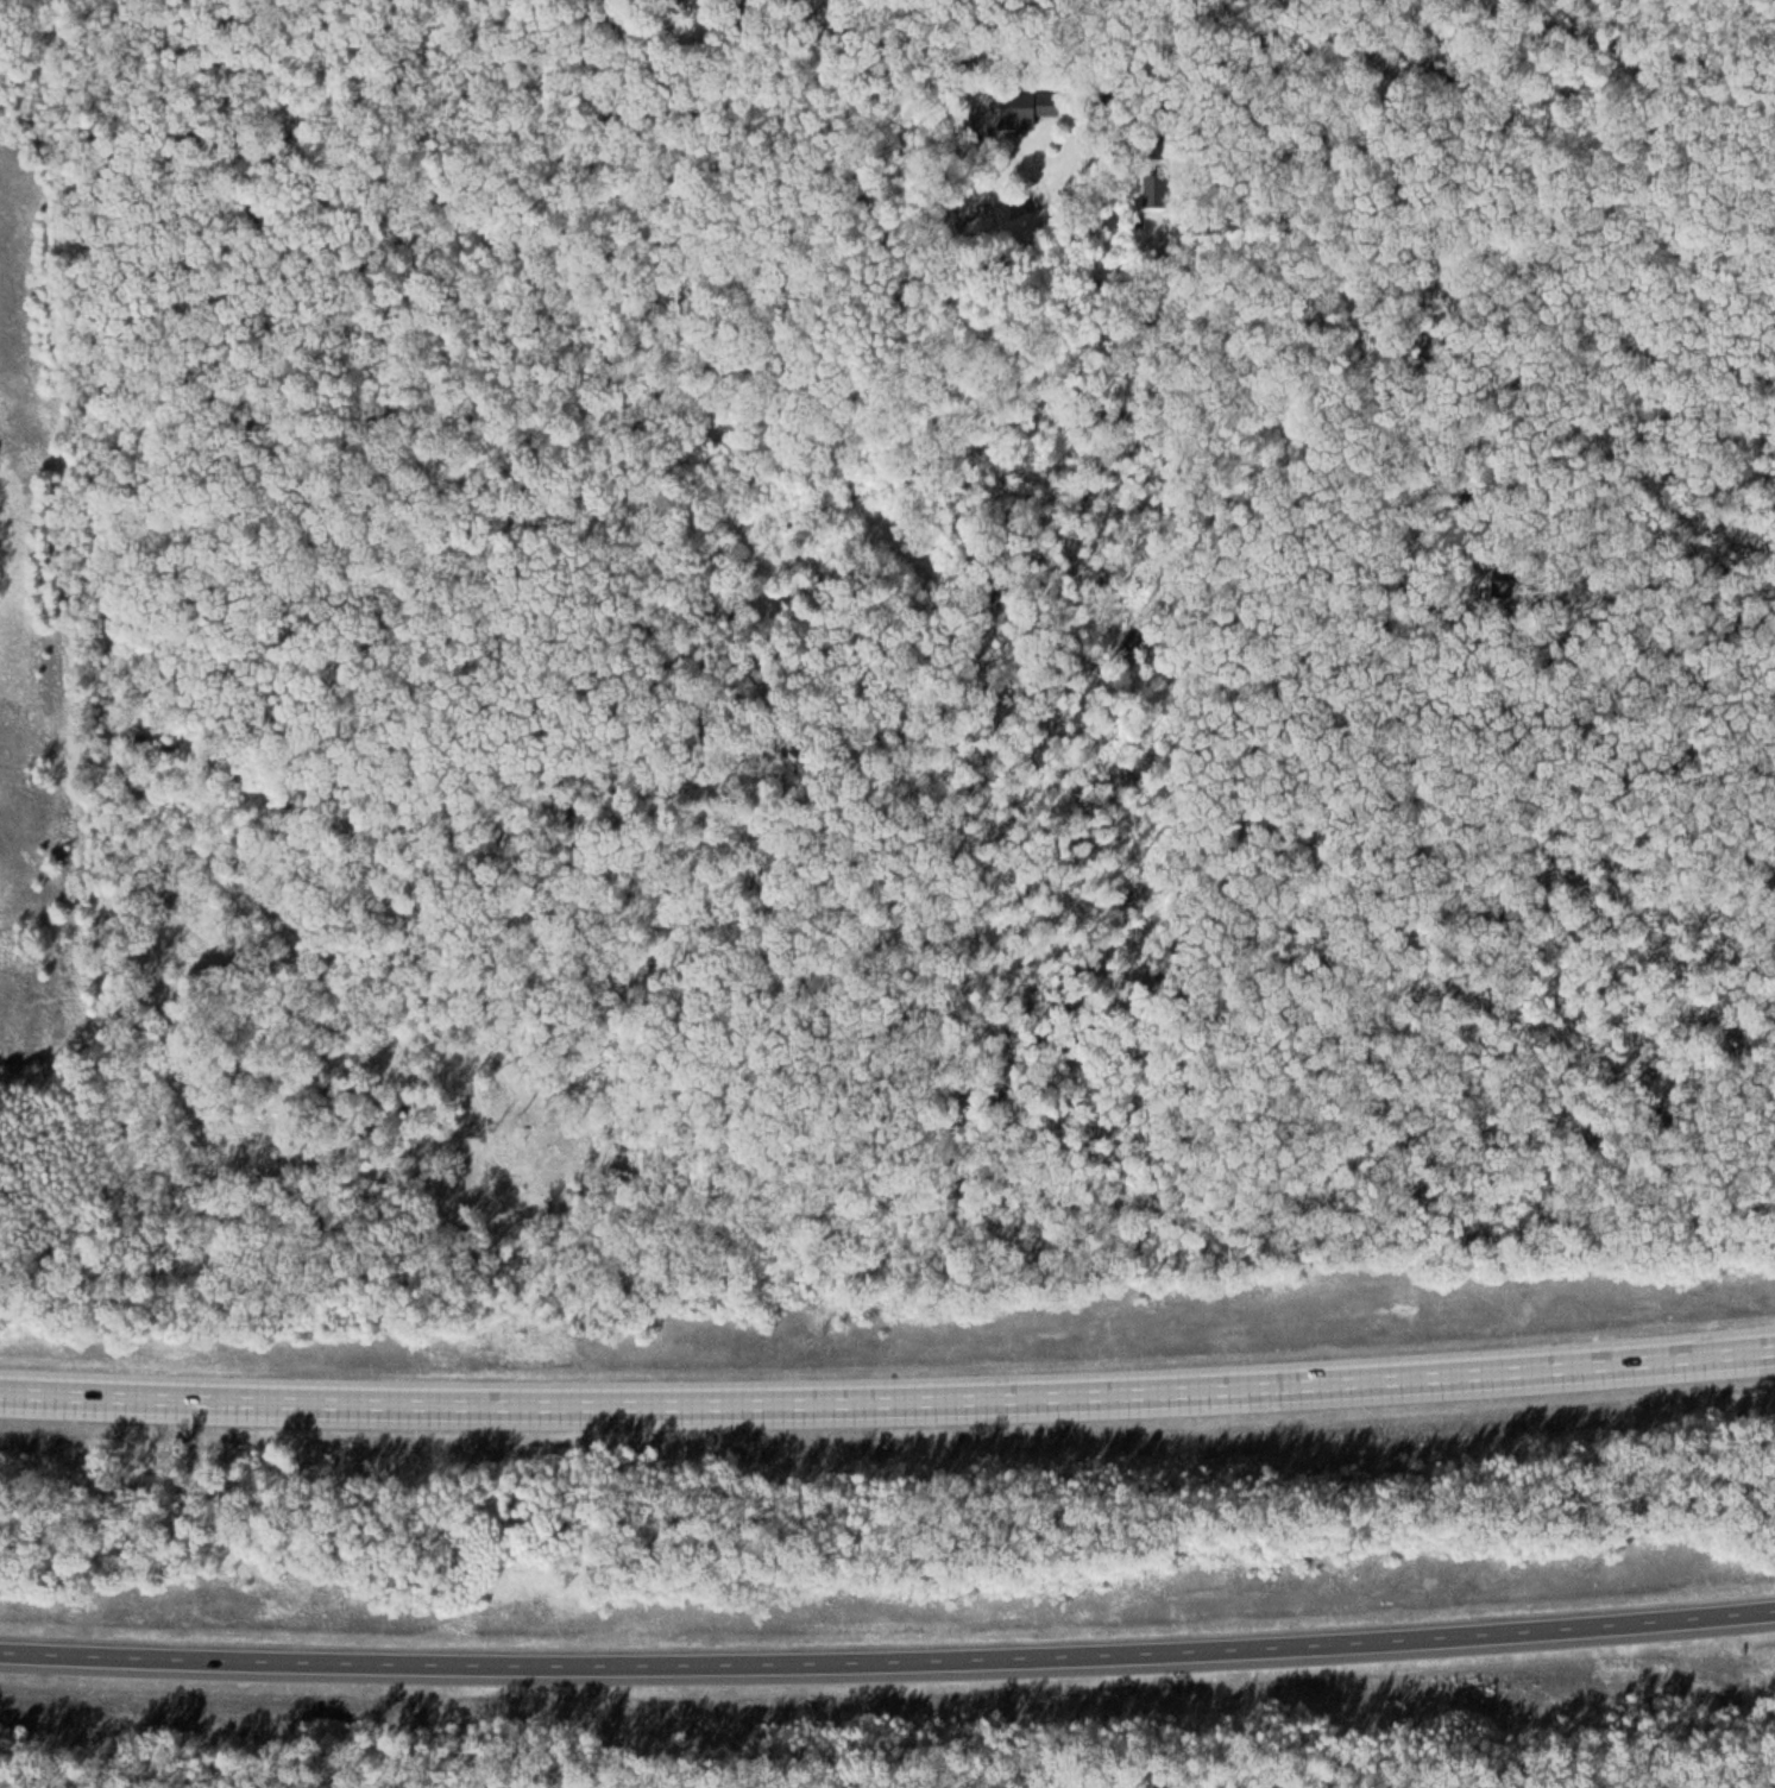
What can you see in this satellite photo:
road: (411, 70)
road: (888, 1399)
road: (888, 1656)

